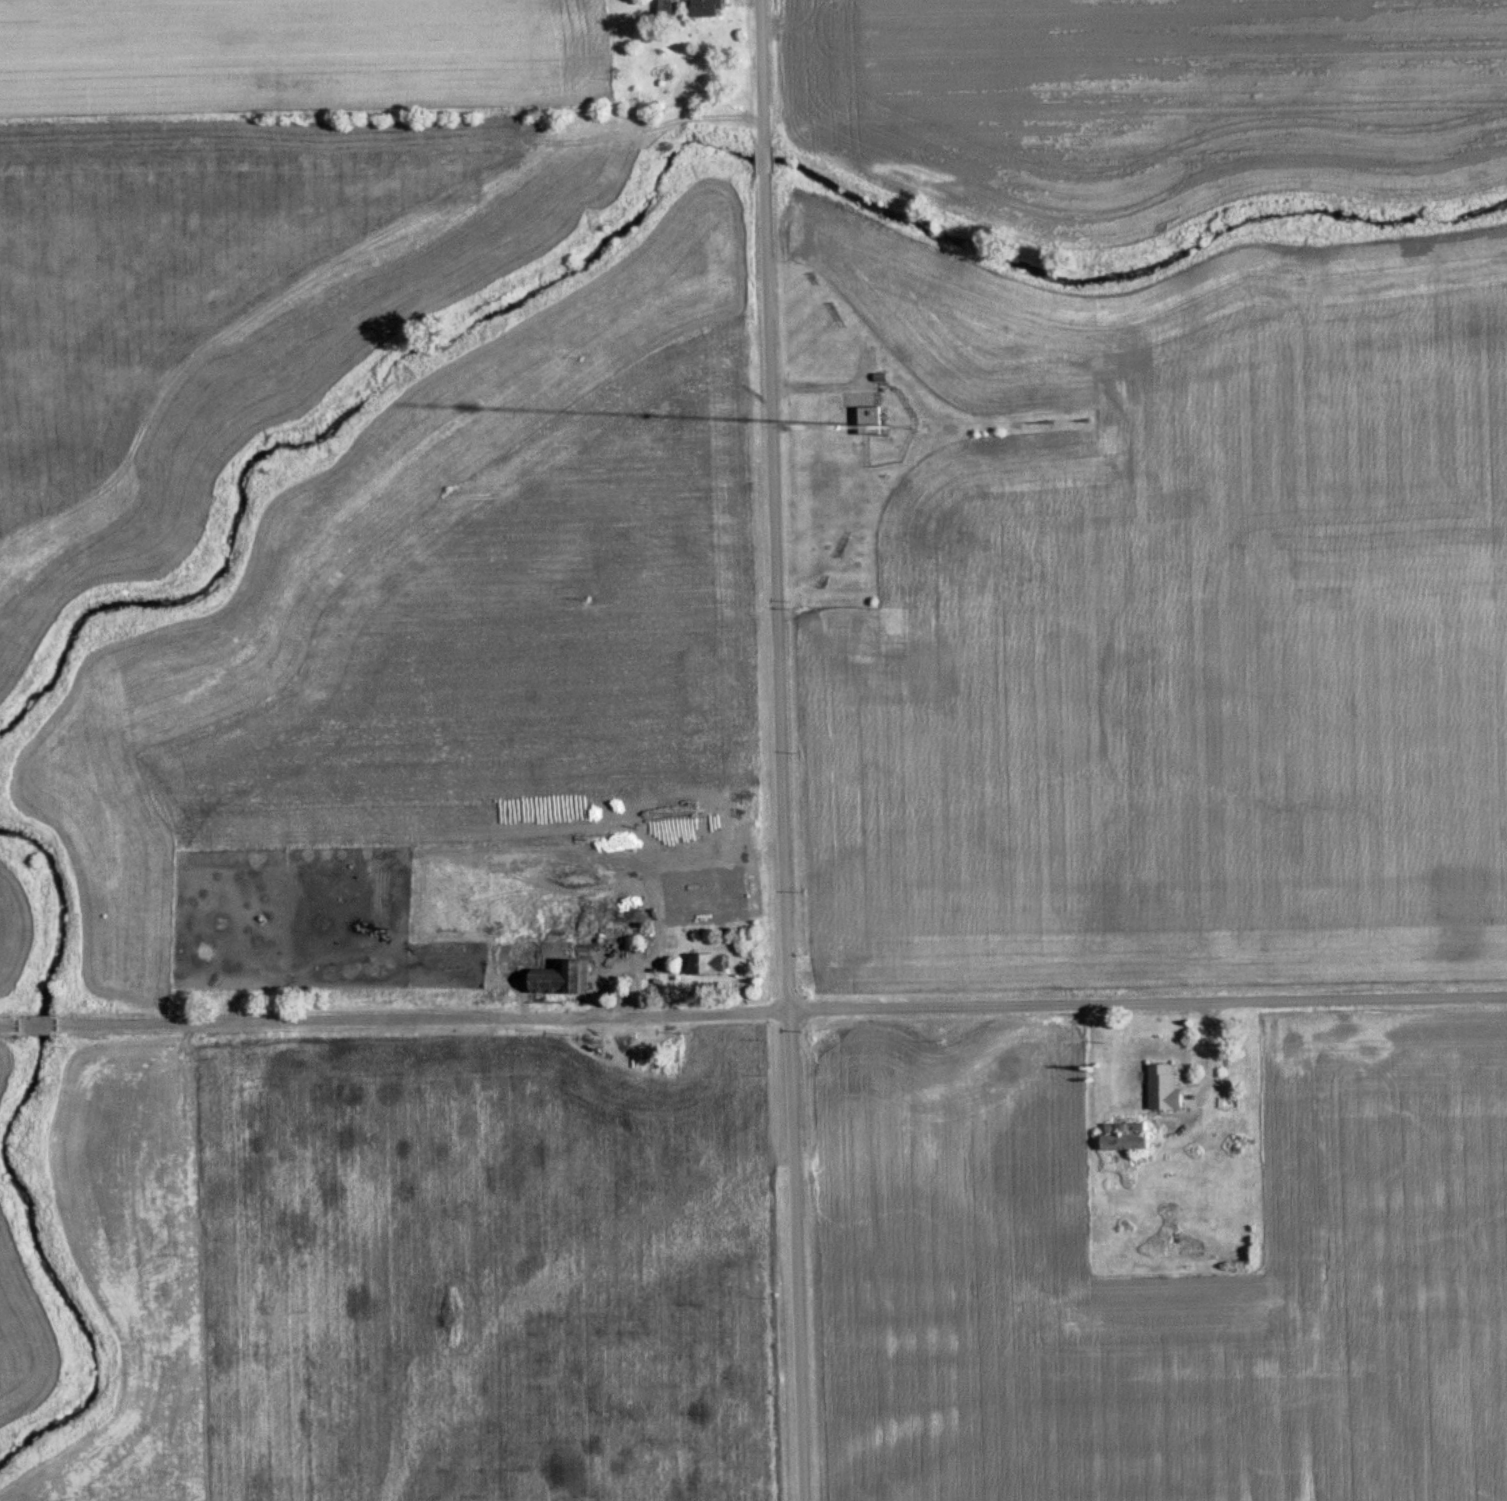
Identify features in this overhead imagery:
building: (699, 8)
road: (762, 66)
road: (766, 154)
road: (783, 839)
building: (701, 963)
building: (557, 978)
road: (778, 1011)
road: (13, 1024)
road: (38, 1024)
building: (1158, 1088)
building: (1120, 1137)

